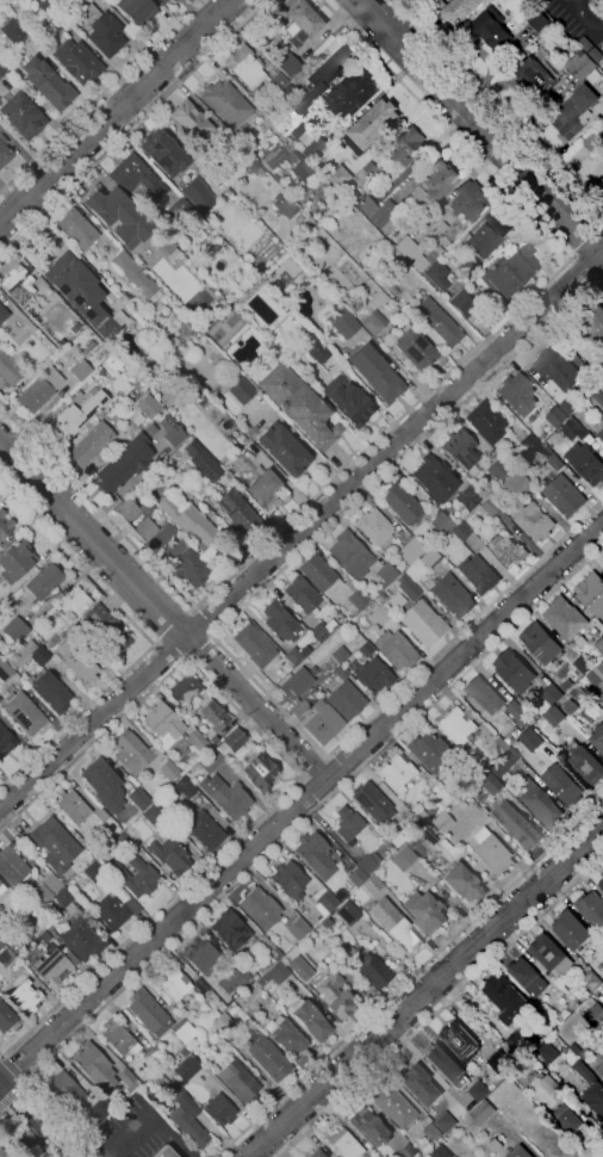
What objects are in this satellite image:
building: (174, 0)
building: (162, 1)
road: (571, 1)
road: (574, 1)
building: (136, 10)
building: (458, 10)
building: (51, 16)
parking lot: (577, 18)
road: (586, 18)
building: (299, 20)
building: (537, 20)
building: (284, 24)
building: (100, 29)
building: (492, 29)
building: (12, 30)
road: (602, 31)
building: (585, 44)
building: (596, 55)
building: (77, 62)
building: (287, 66)
building: (580, 66)
building: (245, 68)
building: (2, 69)
building: (537, 73)
building: (325, 76)
building: (595, 76)
building: (278, 81)
building: (46, 83)
building: (287, 92)
building: (355, 92)
road: (98, 94)
building: (602, 97)
building: (225, 103)
road: (503, 103)
building: (577, 110)
road: (116, 111)
building: (21, 116)
building: (188, 119)
building: (373, 126)
road: (132, 128)
road: (480, 129)
building: (243, 131)
building: (300, 131)
building: (408, 147)
building: (317, 148)
building: (4, 151)
building: (163, 151)
building: (274, 157)
building: (248, 161)
building: (306, 171)
building: (367, 173)
building: (135, 177)
building: (341, 177)
building: (436, 182)
building: (195, 194)
building: (470, 202)
building: (285, 205)
building: (367, 205)
building: (178, 208)
building: (416, 209)
building: (383, 214)
building: (119, 216)
building: (76, 229)
building: (489, 234)
building: (163, 243)
road: (586, 245)
building: (50, 248)
building: (410, 252)
building: (373, 258)
building: (388, 260)
building: (509, 271)
road: (601, 273)
building: (133, 274)
building: (437, 274)
building: (18, 284)
building: (80, 293)
building: (462, 302)
building: (2, 314)
building: (436, 321)
building: (341, 322)
building: (373, 322)
building: (595, 324)
building: (91, 344)
building: (415, 347)
building: (21, 361)
building: (113, 363)
building: (10, 369)
building: (80, 369)
building: (560, 369)
building: (375, 372)
building: (39, 389)
building: (241, 389)
building: (516, 395)
building: (599, 397)
building: (348, 401)
building: (298, 404)
building: (148, 406)
road: (410, 407)
building: (570, 407)
building: (74, 416)
building: (558, 417)
building: (486, 421)
building: (599, 428)
building: (574, 429)
building: (172, 431)
building: (240, 438)
building: (91, 441)
building: (529, 443)
building: (282, 448)
building: (460, 451)
building: (551, 458)
building: (586, 463)
building: (124, 465)
building: (205, 465)
building: (498, 469)
building: (434, 478)
building: (514, 483)
building: (143, 487)
building: (266, 487)
building: (151, 494)
building: (468, 496)
building: (565, 496)
building: (402, 503)
building: (489, 506)
building: (236, 512)
building: (145, 520)
building: (439, 520)
building: (534, 521)
building: (189, 522)
building: (5, 525)
building: (374, 526)
road: (300, 531)
building: (460, 531)
building: (161, 537)
building: (410, 550)
building: (509, 550)
building: (350, 553)
building: (15, 559)
building: (427, 559)
building: (191, 567)
building: (386, 574)
building: (319, 575)
building: (479, 575)
building: (43, 581)
building: (404, 592)
building: (592, 593)
building: (301, 594)
building: (452, 595)
building: (380, 596)
building: (358, 599)
road: (162, 612)
building: (380, 614)
building: (566, 618)
road: (201, 621)
building: (280, 621)
building: (422, 623)
road: (172, 626)
building: (15, 629)
building: (106, 630)
building: (323, 630)
road: (216, 638)
road: (149, 639)
building: (542, 643)
road: (199, 644)
building: (254, 645)
building: (599, 645)
building: (365, 649)
building: (396, 649)
building: (27, 652)
building: (296, 654)
building: (338, 654)
building: (75, 657)
building: (583, 666)
building: (5, 670)
building: (516, 672)
building: (371, 674)
building: (596, 674)
building: (297, 681)
building: (566, 685)
building: (185, 689)
building: (51, 691)
building: (577, 691)
building: (552, 694)
building: (485, 695)
building: (344, 697)
building: (0, 698)
building: (524, 703)
building: (602, 704)
building: (571, 707)
building: (23, 711)
building: (520, 714)
building: (213, 716)
building: (555, 716)
building: (589, 717)
building: (317, 719)
building: (162, 720)
building: (456, 726)
building: (598, 737)
building: (213, 738)
building: (6, 740)
building: (530, 740)
building: (198, 741)
building: (231, 741)
building: (496, 747)
building: (425, 750)
building: (131, 751)
building: (0, 753)
building: (210, 760)
road: (313, 766)
building: (586, 766)
building: (169, 769)
building: (496, 771)
building: (259, 772)
road: (297, 772)
building: (472, 772)
building: (396, 773)
building: (104, 784)
building: (562, 785)
building: (185, 786)
building: (225, 796)
building: (441, 797)
building: (139, 798)
road: (300, 802)
building: (372, 802)
building: (540, 804)
building: (72, 806)
building: (100, 815)
building: (156, 816)
building: (442, 821)
building: (348, 824)
building: (411, 824)
building: (512, 824)
building: (205, 830)
building: (430, 834)
building: (126, 836)
building: (397, 839)
building: (414, 840)
building: (54, 844)
road: (273, 848)
building: (490, 852)
building: (169, 854)
building: (315, 855)
building: (403, 858)
building: (368, 862)
building: (12, 865)
building: (93, 871)
building: (136, 876)
building: (356, 877)
building: (288, 879)
building: (461, 881)
building: (51, 883)
building: (368, 884)
building: (602, 885)
building: (1, 886)
building: (41, 893)
building: (63, 896)
building: (324, 903)
building: (260, 908)
building: (592, 909)
building: (113, 911)
building: (427, 911)
building: (347, 912)
building: (311, 917)
building: (35, 926)
building: (230, 929)
building: (296, 930)
building: (573, 930)
building: (405, 936)
building: (81, 939)
building: (0, 943)
building: (266, 946)
building: (552, 955)
building: (6, 957)
building: (265, 963)
building: (51, 965)
building: (216, 965)
building: (300, 969)
building: (371, 970)
building: (273, 973)
building: (254, 976)
building: (530, 977)
road: (409, 978)
building: (591, 982)
building: (173, 983)
building: (200, 986)
building: (191, 992)
road: (425, 994)
building: (336, 996)
building: (25, 997)
building: (506, 1000)
building: (179, 1004)
road: (440, 1007)
building: (149, 1011)
building: (596, 1016)
building: (7, 1019)
building: (310, 1020)
building: (222, 1023)
building: (184, 1031)
building: (151, 1037)
building: (287, 1037)
building: (119, 1038)
building: (462, 1041)
building: (518, 1041)
building: (193, 1048)
building: (577, 1048)
building: (184, 1052)
building: (155, 1054)
building: (547, 1054)
building: (267, 1057)
building: (501, 1063)
building: (599, 1063)
building: (443, 1064)
building: (94, 1065)
building: (474, 1066)
building: (187, 1068)
building: (125, 1076)
building: (526, 1076)
building: (160, 1077)
building: (237, 1081)
building: (427, 1081)
building: (551, 1084)
building: (416, 1085)
building: (591, 1087)
building: (477, 1090)
building: (172, 1091)
road: (12, 1094)
building: (75, 1094)
building: (392, 1105)
building: (219, 1109)
building: (483, 1112)
building: (568, 1119)
road: (35, 1120)
building: (445, 1121)
building: (367, 1126)
building: (188, 1127)
parking lot: (131, 1130)
building: (434, 1133)
road: (17, 1139)
building: (343, 1144)
building: (497, 1145)
building: (406, 1150)
road: (597, 1151)
building: (163, 1152)
building: (439, 1152)
building: (521, 1152)
building: (2, 1153)
building: (317, 1153)

